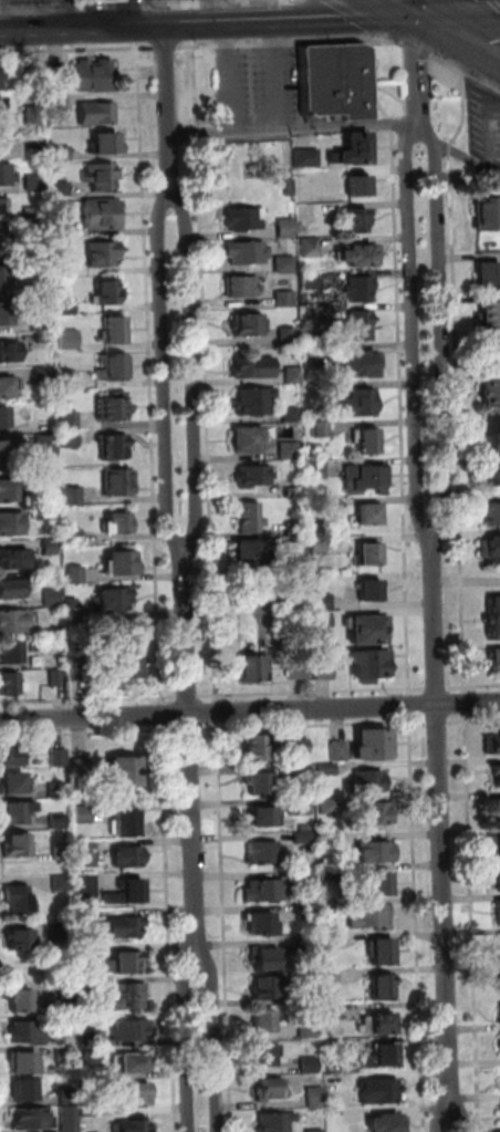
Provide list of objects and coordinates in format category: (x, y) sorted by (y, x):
building: (102, 0)
parking lot: (127, 0)
road: (145, 3)
road: (402, 7)
road: (413, 7)
road: (457, 10)
traffic signals: (414, 13)
road: (62, 14)
road: (354, 14)
road: (0, 20)
road: (207, 23)
road: (192, 32)
road: (136, 34)
road: (457, 35)
road: (389, 40)
road: (280, 42)
road: (414, 46)
road: (164, 48)
road: (76, 50)
road: (415, 71)
road: (462, 73)
building: (2, 74)
building: (93, 74)
road: (277, 74)
building: (59, 77)
road: (226, 77)
building: (31, 81)
road: (368, 82)
building: (332, 83)
parking lot: (257, 86)
building: (58, 102)
building: (1, 107)
road: (167, 107)
road: (460, 110)
building: (96, 112)
building: (32, 114)
road: (387, 125)
parking lot: (482, 125)
road: (292, 128)
road: (424, 136)
building: (4, 141)
building: (105, 143)
building: (352, 147)
road: (447, 149)
building: (34, 153)
building: (61, 154)
building: (304, 157)
road: (465, 159)
building: (6, 175)
building: (102, 177)
building: (33, 183)
building: (355, 186)
building: (287, 187)
building: (60, 190)
building: (2, 210)
building: (306, 211)
building: (482, 214)
building: (102, 215)
building: (33, 216)
building: (242, 218)
building: (352, 220)
building: (283, 228)
building: (60, 229)
building: (4, 243)
building: (306, 247)
building: (244, 252)
building: (102, 253)
building: (356, 253)
building: (282, 264)
building: (65, 268)
building: (483, 271)
building: (6, 279)
building: (309, 281)
building: (239, 287)
building: (356, 289)
building: (39, 290)
building: (106, 292)
building: (282, 299)
building: (65, 305)
building: (9, 312)
building: (486, 314)
building: (311, 318)
building: (39, 324)
building: (246, 324)
building: (355, 325)
building: (113, 330)
road: (410, 335)
building: (42, 336)
building: (285, 336)
building: (67, 340)
road: (438, 345)
building: (9, 351)
building: (311, 356)
building: (355, 363)
building: (112, 367)
building: (252, 367)
road: (191, 370)
road: (162, 371)
road: (204, 371)
road: (148, 374)
building: (291, 375)
building: (43, 376)
building: (66, 380)
building: (8, 385)
building: (326, 388)
building: (489, 390)
building: (252, 402)
building: (357, 404)
building: (113, 407)
road: (399, 413)
building: (289, 414)
building: (3, 417)
building: (69, 420)
road: (456, 425)
building: (321, 430)
building: (69, 439)
building: (246, 439)
building: (365, 442)
building: (43, 445)
building: (111, 447)
building: (287, 450)
building: (3, 451)
building: (315, 470)
building: (491, 475)
building: (251, 476)
building: (45, 478)
building: (363, 478)
building: (118, 481)
building: (10, 490)
building: (291, 492)
building: (72, 497)
building: (320, 507)
building: (48, 512)
building: (491, 513)
building: (365, 515)
building: (249, 518)
building: (117, 522)
building: (11, 523)
building: (293, 530)
building: (73, 537)
building: (317, 546)
building: (49, 547)
building: (489, 549)
building: (247, 552)
building: (366, 554)
building: (12, 559)
building: (122, 562)
building: (75, 574)
building: (10, 589)
building: (371, 591)
building: (52, 598)
building: (113, 598)
building: (322, 602)
building: (72, 610)
building: (492, 616)
building: (12, 621)
building: (321, 622)
building: (367, 627)
building: (77, 647)
building: (9, 652)
building: (494, 658)
building: (126, 663)
building: (369, 664)
building: (253, 667)
building: (77, 668)
building: (296, 669)
building: (323, 671)
building: (55, 678)
building: (10, 684)
road: (473, 687)
road: (436, 688)
road: (312, 693)
road: (187, 696)
road: (88, 700)
road: (465, 704)
road: (468, 704)
road: (409, 706)
road: (218, 712)
road: (217, 713)
road: (162, 715)
road: (473, 719)
road: (437, 721)
road: (313, 726)
road: (189, 730)
road: (88, 734)
building: (374, 744)
building: (491, 744)
building: (300, 747)
building: (254, 748)
building: (338, 751)
building: (12, 756)
road: (189, 757)
building: (59, 758)
building: (81, 767)
building: (326, 769)
building: (124, 771)
building: (301, 772)
building: (497, 775)
building: (14, 782)
building: (258, 782)
building: (367, 782)
building: (56, 790)
building: (302, 807)
building: (327, 807)
building: (499, 809)
building: (17, 811)
building: (375, 813)
building: (82, 814)
building: (263, 817)
building: (58, 821)
building: (126, 822)
road: (441, 828)
building: (303, 838)
building: (330, 841)
building: (494, 843)
building: (17, 844)
building: (61, 852)
building: (375, 852)
building: (261, 853)
building: (87, 855)
building: (127, 856)
building: (329, 874)
building: (305, 875)
building: (499, 880)
building: (61, 883)
building: (379, 885)
building: (86, 886)
building: (263, 891)
building: (127, 892)
building: (18, 899)
building: (330, 908)
building: (306, 911)
building: (499, 912)
building: (86, 914)
building: (372, 916)
road: (472, 922)
building: (263, 923)
road: (417, 924)
building: (123, 926)
road: (169, 927)
road: (223, 927)
building: (60, 930)
building: (19, 938)
building: (499, 942)
building: (331, 943)
building: (308, 947)
building: (88, 952)
building: (383, 952)
building: (265, 956)
building: (128, 962)
building: (331, 977)
building: (498, 979)
building: (90, 986)
building: (382, 986)
building: (267, 987)
building: (311, 995)
building: (132, 996)
building: (20, 1000)
building: (334, 1011)
building: (498, 1014)
building: (263, 1021)
building: (378, 1022)
building: (63, 1024)
building: (132, 1029)
building: (308, 1029)
building: (21, 1031)
building: (88, 1037)
road: (186, 1043)
road: (212, 1043)
building: (499, 1045)
building: (335, 1046)
building: (64, 1053)
building: (265, 1055)
building: (383, 1056)
building: (24, 1062)
building: (133, 1062)
building: (309, 1065)
building: (92, 1073)
building: (268, 1089)
building: (24, 1090)
building: (379, 1091)
building: (136, 1094)
building: (67, 1097)
building: (314, 1097)
building: (100, 1107)
road: (451, 1113)
building: (336, 1118)
building: (30, 1119)
building: (69, 1119)
building: (275, 1122)
building: (388, 1123)
building: (133, 1125)
building: (315, 1131)

